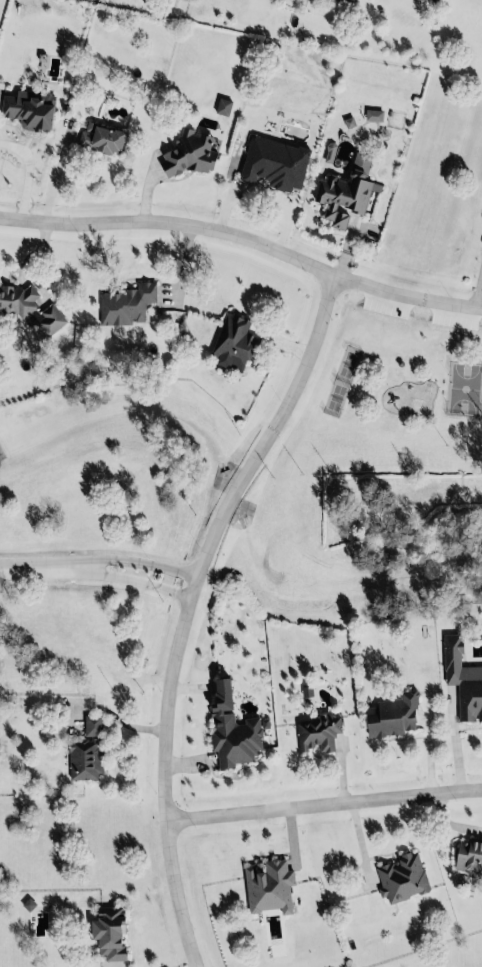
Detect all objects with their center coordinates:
building: (347, 0)
building: (221, 105)
building: (30, 108)
building: (371, 114)
building: (99, 137)
building: (327, 151)
building: (187, 152)
road: (53, 177)
building: (344, 190)
road: (170, 222)
road: (406, 294)
building: (16, 299)
building: (126, 302)
building: (47, 319)
building: (231, 342)
road: (140, 561)
road: (43, 566)
road: (137, 578)
road: (184, 608)
building: (462, 680)
building: (391, 715)
building: (90, 724)
building: (315, 731)
building: (229, 734)
building: (82, 758)
road: (322, 803)
building: (468, 854)
building: (400, 877)
building: (263, 887)
building: (104, 930)

